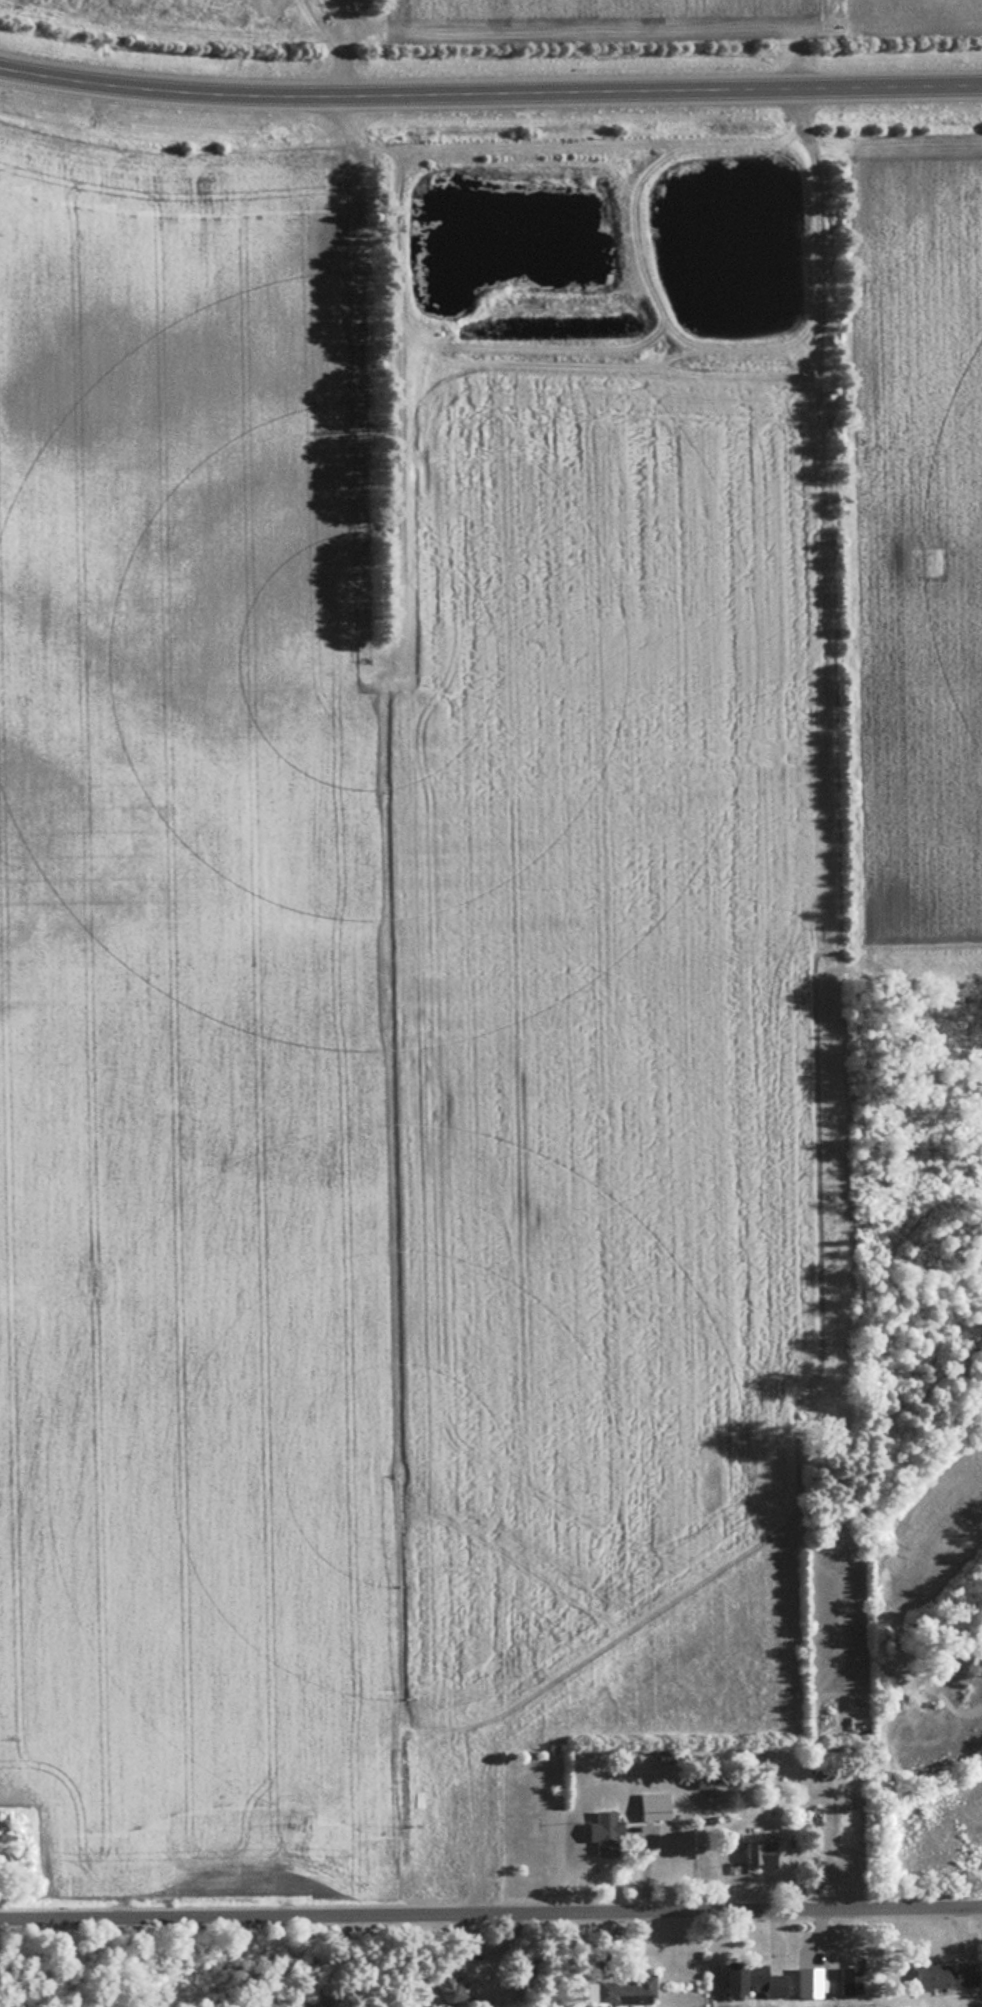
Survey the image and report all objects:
road: (490, 96)
building: (702, 1783)
building: (653, 1806)
building: (602, 1832)
building: (757, 1854)
road: (491, 1918)
building: (941, 1976)
building: (764, 1981)
building: (850, 1981)
building: (446, 1987)
building: (625, 1990)

